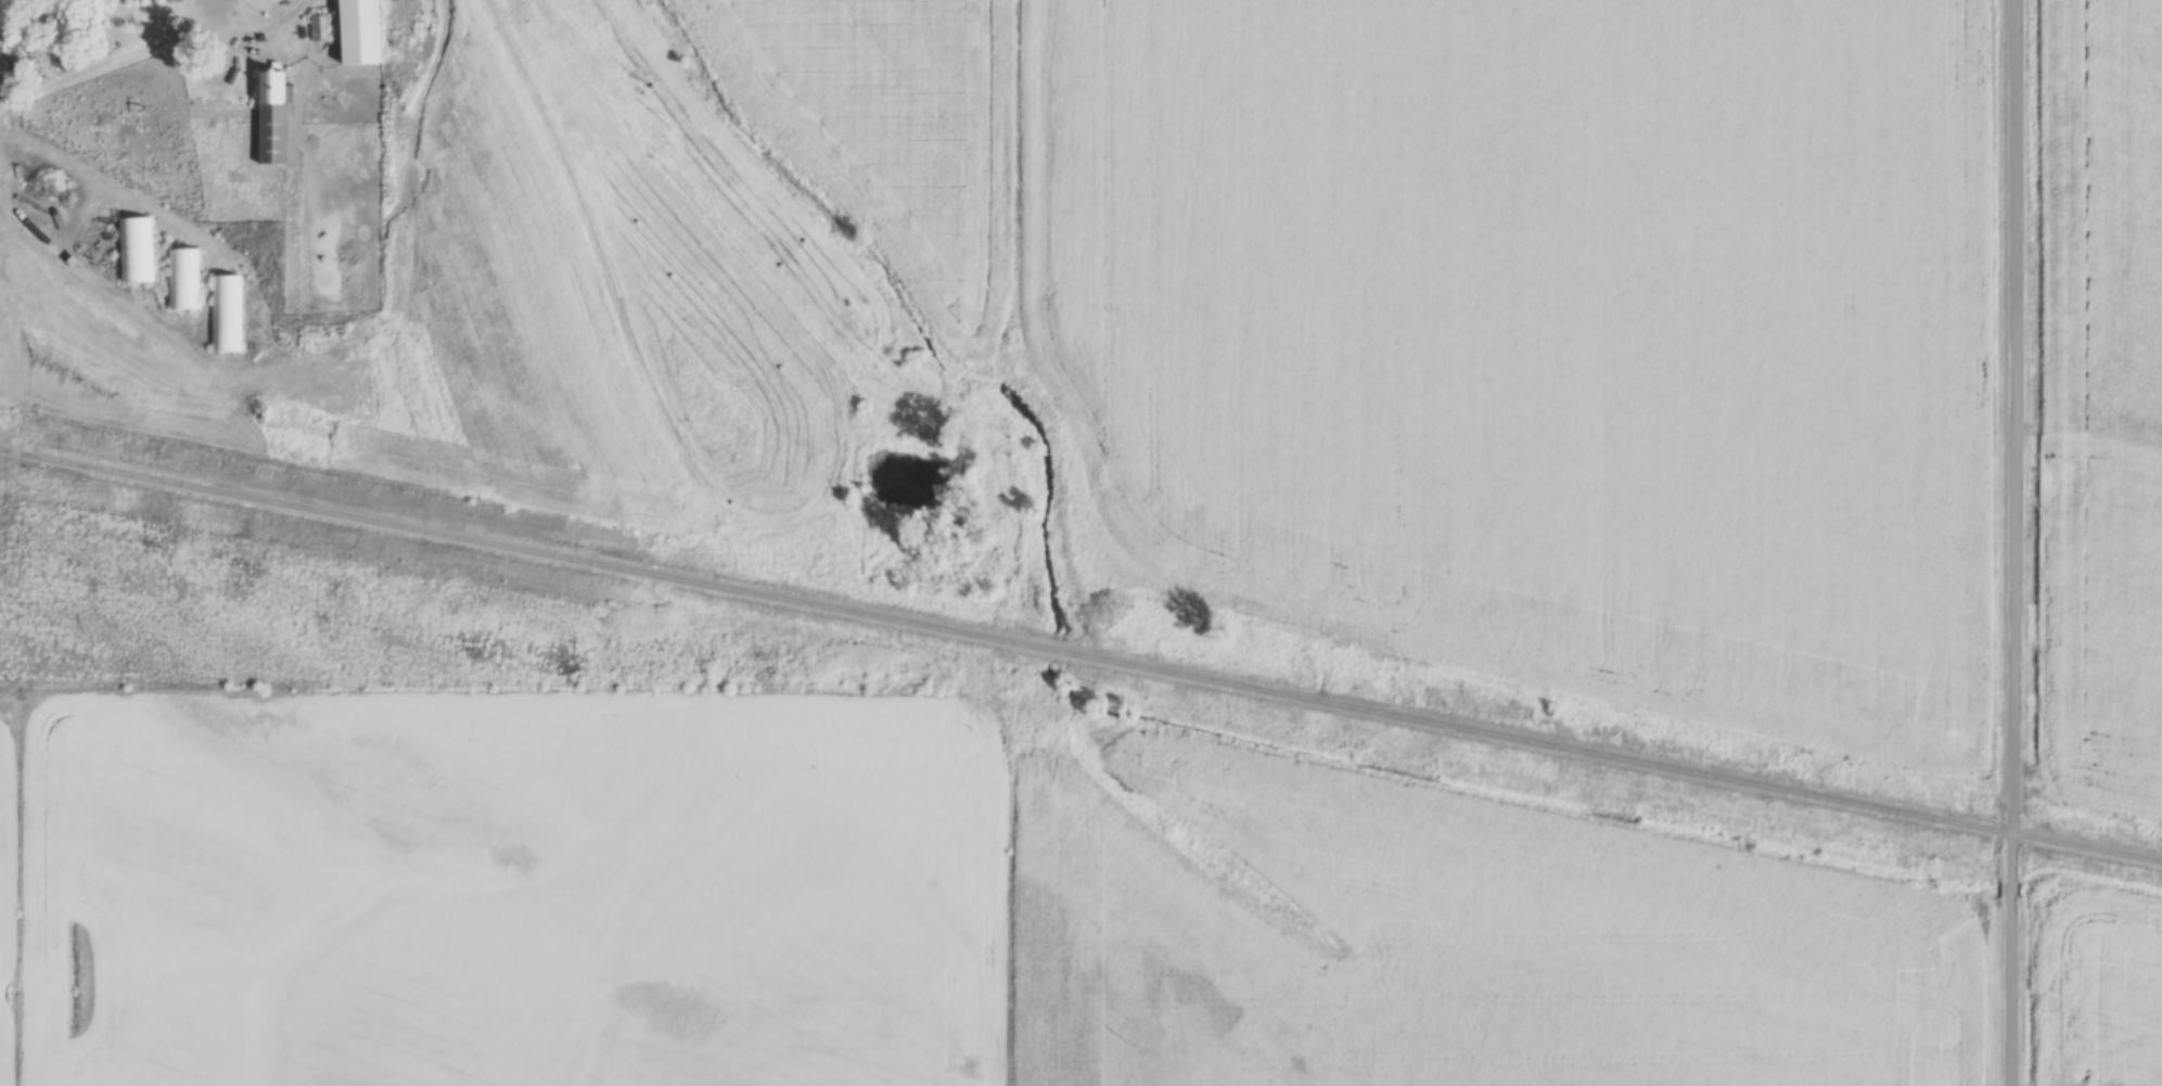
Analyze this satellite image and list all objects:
road: (196, 12)
building: (360, 31)
road: (156, 39)
road: (0, 91)
building: (271, 115)
building: (135, 248)
building: (181, 277)
building: (225, 312)
road: (327, 335)
road: (14, 349)
crop: (2103, 398)
road: (2013, 440)
railway: (1080, 655)
road: (2009, 889)
crop: (2097, 985)
road: (2008, 991)

